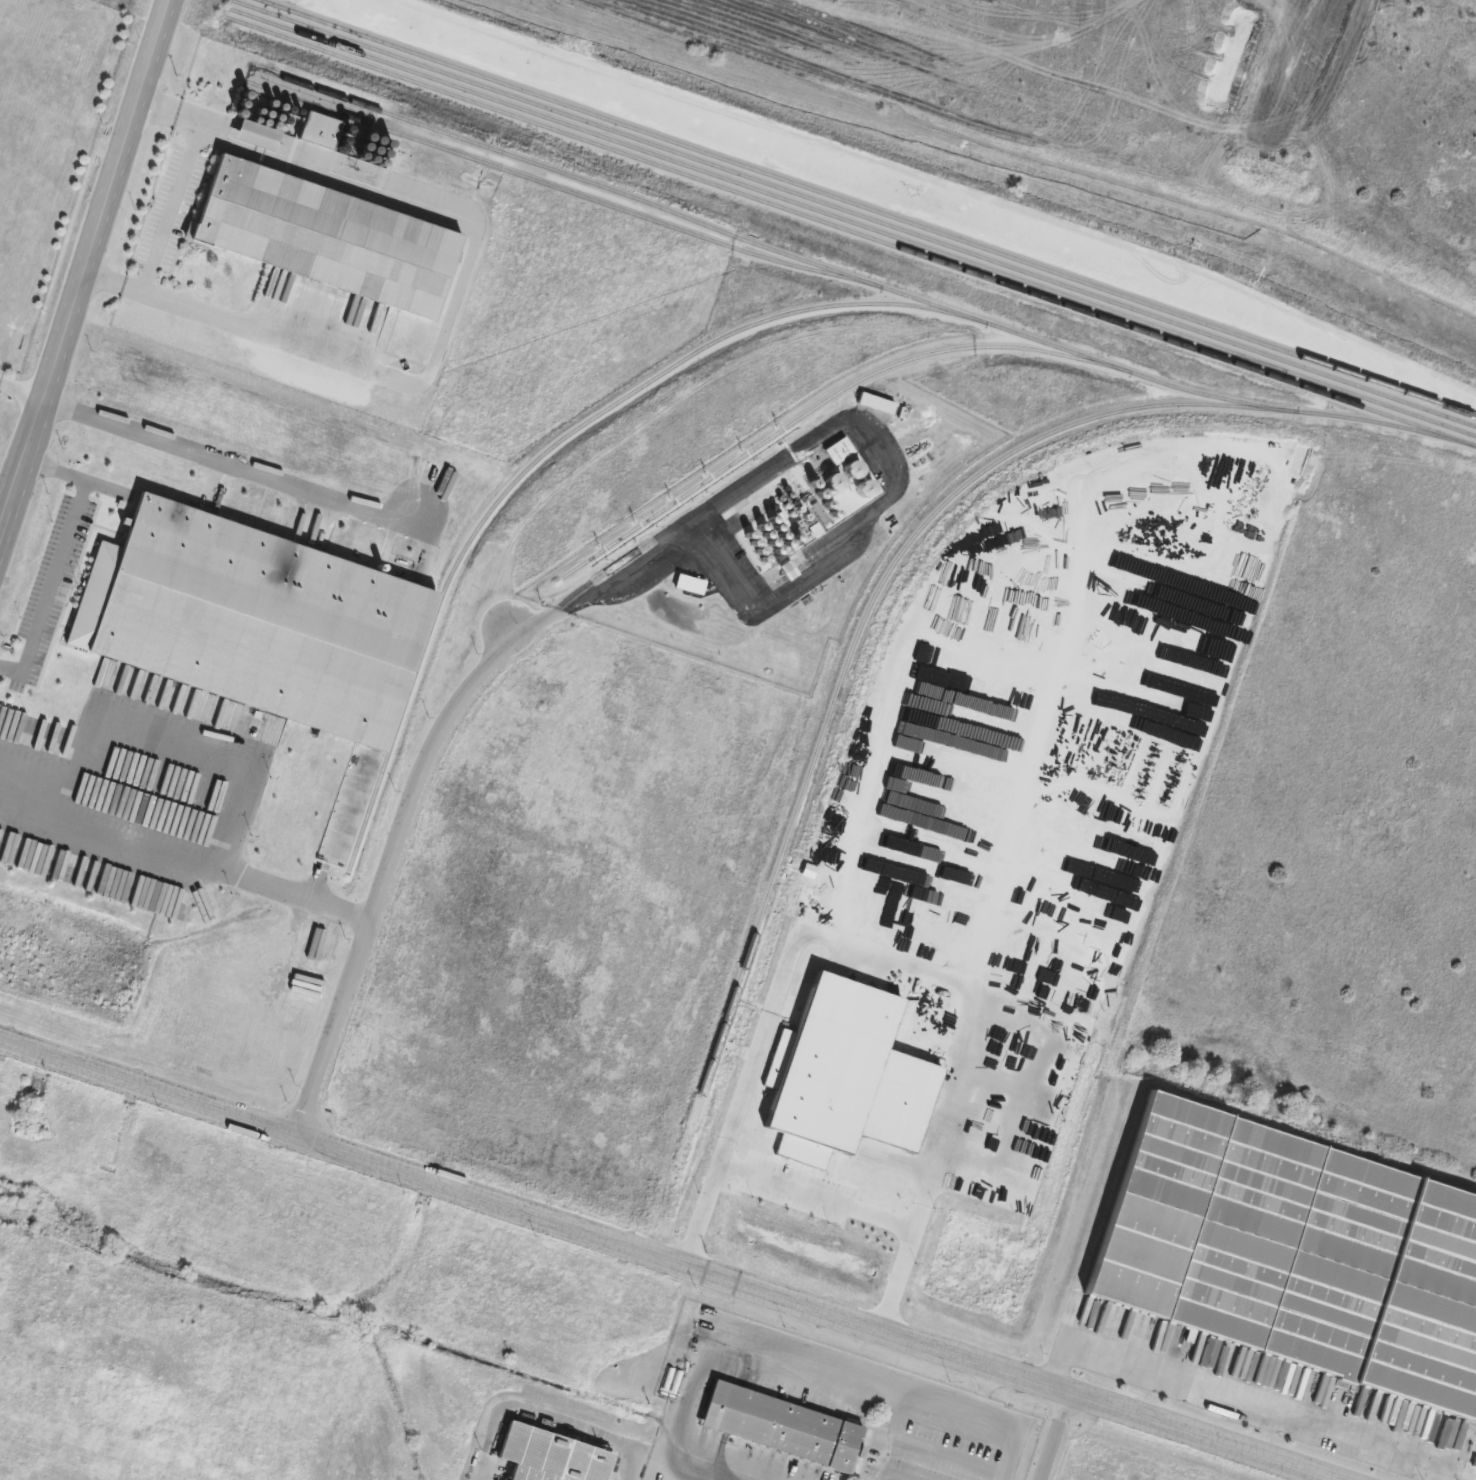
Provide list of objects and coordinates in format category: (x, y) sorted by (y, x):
road: (171, 205)
railway: (871, 207)
railway: (855, 212)
railway: (853, 222)
railway: (852, 231)
building: (318, 238)
road: (84, 261)
railway: (985, 322)
railway: (709, 344)
road: (21, 391)
railway: (825, 400)
road: (233, 464)
railway: (916, 535)
road: (60, 556)
road: (632, 578)
building: (246, 622)
road: (161, 781)
road: (391, 851)
road: (179, 860)
road: (898, 962)
road: (818, 1195)
building: (1290, 1256)
road: (670, 1261)
road: (808, 1363)
road: (986, 1390)
road: (1230, 1395)
building: (779, 1426)
road: (1054, 1435)
building: (547, 1456)
road: (676, 1472)
road: (1438, 1472)

